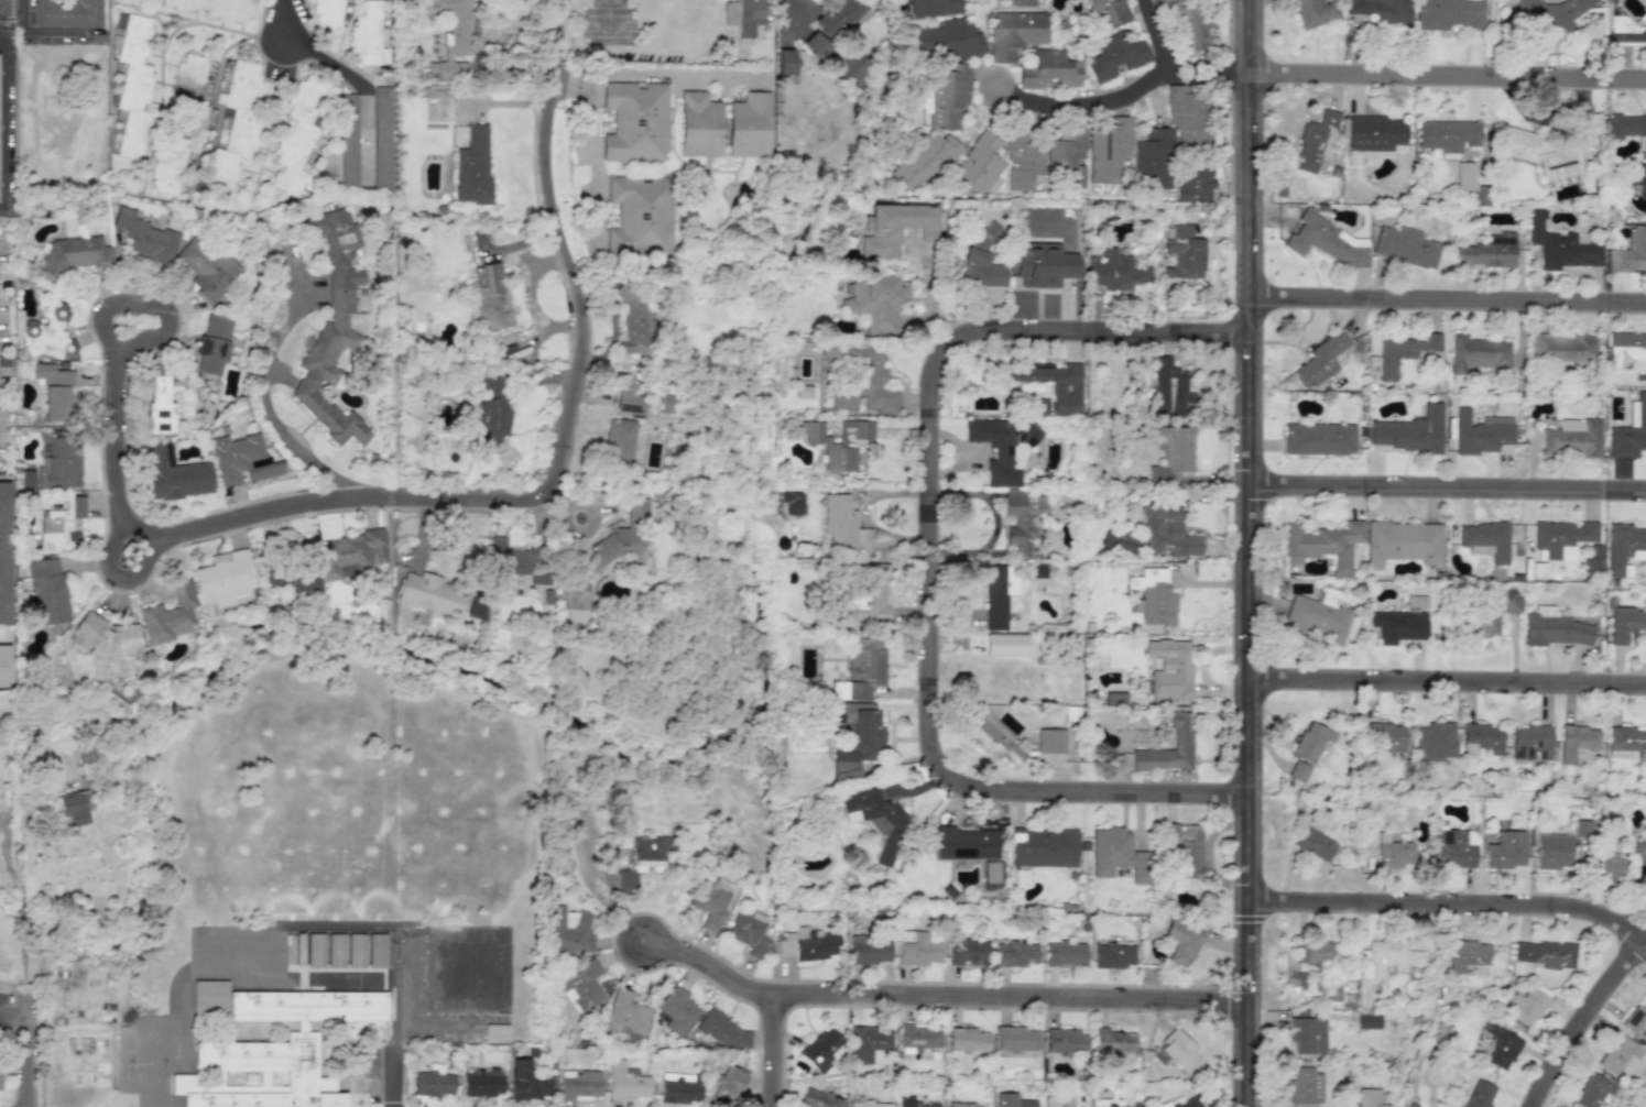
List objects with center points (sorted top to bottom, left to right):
building: (1645, 0)
building: (1020, 2)
building: (216, 8)
road: (784, 8)
building: (934, 8)
building: (1381, 11)
building: (327, 12)
building: (1109, 12)
building: (1311, 12)
building: (1550, 12)
building: (65, 13)
building: (1448, 14)
building: (742, 15)
building: (837, 17)
road: (283, 18)
building: (1187, 23)
building: (1623, 29)
building: (1013, 33)
road: (1167, 33)
building: (369, 35)
building: (450, 37)
building: (946, 39)
building: (814, 45)
road: (1208, 47)
road: (22, 48)
building: (1114, 56)
road: (324, 59)
building: (784, 62)
road: (1446, 65)
building: (848, 67)
building: (1048, 70)
road: (660, 75)
building: (132, 84)
road: (566, 88)
building: (945, 96)
road: (1082, 105)
road: (2, 121)
building: (634, 121)
building: (181, 124)
building: (699, 124)
building: (749, 125)
building: (235, 127)
building: (1628, 128)
building: (299, 132)
building: (1376, 133)
building: (1173, 134)
building: (1447, 135)
building: (1315, 141)
building: (381, 143)
building: (1551, 145)
building: (1108, 150)
building: (1067, 155)
building: (1369, 155)
road: (592, 158)
building: (922, 161)
building: (1022, 161)
building: (980, 162)
building: (472, 167)
building: (1464, 176)
building: (1638, 177)
building: (1193, 182)
building: (639, 215)
building: (893, 228)
building: (142, 235)
building: (1326, 240)
building: (1560, 245)
building: (1404, 246)
building: (1486, 251)
building: (1629, 251)
building: (1182, 253)
building: (74, 254)
building: (977, 261)
building: (1042, 264)
building: (204, 267)
building: (1112, 270)
road: (1446, 288)
road: (770, 297)
building: (874, 302)
road: (152, 305)
building: (632, 319)
building: (48, 330)
building: (331, 330)
building: (211, 343)
building: (1562, 348)
building: (1624, 349)
building: (1405, 353)
building: (1476, 353)
building: (1320, 360)
building: (864, 383)
building: (1050, 383)
building: (1168, 387)
building: (55, 394)
building: (630, 403)
building: (666, 404)
building: (1037, 406)
building: (157, 407)
road: (269, 410)
building: (492, 410)
building: (1629, 430)
building: (1408, 431)
building: (1481, 432)
building: (1573, 438)
building: (1318, 439)
building: (619, 440)
building: (837, 442)
building: (1003, 447)
building: (1173, 454)
building: (240, 460)
building: (61, 463)
building: (174, 473)
road: (1446, 478)
road: (494, 495)
building: (792, 502)
building: (1022, 519)
building: (842, 523)
building: (61, 525)
building: (1165, 528)
building: (1562, 538)
building: (1485, 539)
building: (1119, 540)
building: (1403, 542)
building: (1323, 544)
building: (1624, 547)
road: (926, 548)
building: (4, 551)
building: (608, 551)
building: (352, 552)
road: (1244, 553)
building: (1593, 557)
road: (116, 576)
building: (293, 577)
building: (222, 580)
building: (46, 590)
building: (429, 593)
building: (998, 594)
building: (868, 596)
building: (1153, 596)
building: (1509, 601)
building: (168, 615)
building: (1317, 616)
building: (1482, 622)
building: (1626, 624)
building: (1398, 625)
building: (1554, 628)
building: (103, 638)
building: (1006, 644)
building: (3, 664)
building: (861, 669)
building: (1168, 669)
road: (1445, 670)
building: (1113, 698)
building: (863, 738)
building: (1181, 738)
building: (1386, 738)
building: (1482, 738)
building: (998, 739)
building: (1049, 741)
building: (1311, 741)
building: (1435, 742)
building: (1530, 742)
building: (1577, 743)
building: (1626, 743)
building: (81, 753)
park: (406, 767)
building: (846, 770)
building: (1298, 771)
building: (73, 807)
building: (876, 820)
road: (548, 824)
building: (1581, 827)
building: (966, 843)
building: (1312, 843)
building: (1043, 846)
building: (1185, 848)
building: (1453, 850)
building: (1506, 850)
building: (1552, 852)
building: (1394, 854)
building: (1118, 855)
building: (643, 858)
building: (1606, 866)
road: (1448, 899)
building: (710, 902)
building: (567, 930)
building: (748, 934)
building: (1181, 942)
building: (806, 944)
building: (294, 949)
building: (918, 949)
building: (314, 950)
building: (335, 950)
building: (355, 950)
building: (375, 950)
building: (869, 950)
building: (967, 951)
building: (1311, 951)
building: (1065, 953)
building: (1015, 954)
building: (1113, 955)
building: (1538, 955)
building: (1465, 956)
building: (1385, 957)
building: (1295, 978)
road: (291, 979)
building: (580, 985)
building: (209, 997)
road: (937, 1000)
building: (1526, 1007)
building: (676, 1010)
road: (13, 1013)
road: (1582, 1015)
building: (625, 1016)
road: (26, 1019)
building: (1367, 1021)
building: (1637, 1021)
building: (495, 1030)
building: (723, 1030)
building: (1307, 1035)
building: (1015, 1038)
building: (916, 1039)
building: (1112, 1040)
building: (967, 1041)
building: (1065, 1041)
building: (868, 1044)
building: (1501, 1046)
building: (820, 1048)
building: (272, 1052)
building: (1179, 1053)
road: (773, 1054)
building: (1617, 1054)
road: (393, 1081)
building: (624, 1081)
building: (526, 1082)
building: (433, 1083)
building: (481, 1083)
building: (578, 1084)
building: (728, 1085)
building: (1305, 1085)
building: (678, 1087)
building: (1592, 1090)
building: (1478, 1095)
building: (1367, 1097)
building: (904, 1098)
building: (817, 1099)
building: (1012, 1100)
building: (1057, 1101)
building: (1180, 1103)
building: (869, 1104)
building: (1103, 1104)
building: (960, 1105)

